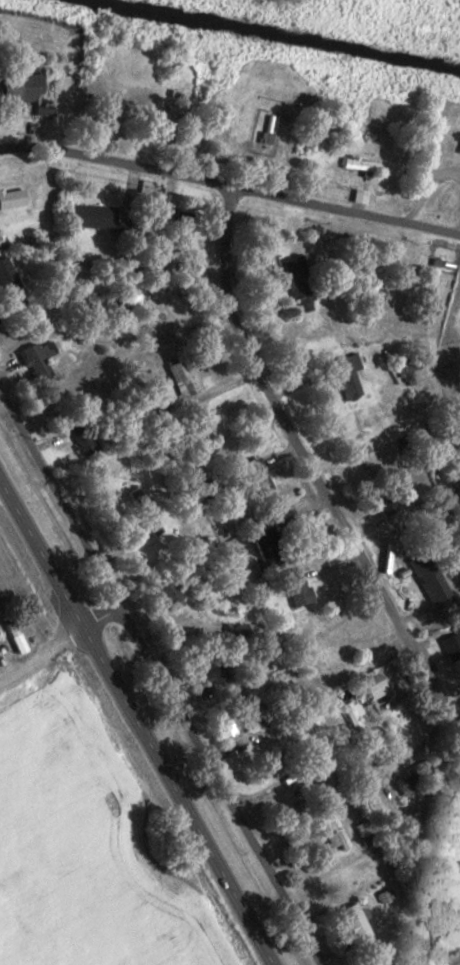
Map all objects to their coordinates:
building: (25, 93)
building: (316, 130)
building: (150, 132)
building: (353, 167)
road: (230, 187)
building: (353, 198)
building: (9, 199)
building: (84, 217)
building: (171, 231)
building: (5, 279)
building: (294, 285)
building: (125, 298)
building: (156, 322)
building: (32, 360)
building: (342, 376)
building: (179, 377)
building: (72, 435)
road: (304, 467)
building: (250, 474)
building: (381, 503)
building: (139, 513)
building: (269, 557)
building: (292, 589)
building: (165, 594)
building: (423, 595)
road: (97, 618)
building: (10, 637)
building: (451, 651)
road: (40, 652)
building: (212, 671)
road: (157, 684)
building: (370, 687)
building: (231, 720)
road: (134, 726)
building: (408, 779)
building: (364, 798)
building: (330, 833)
building: (349, 923)

